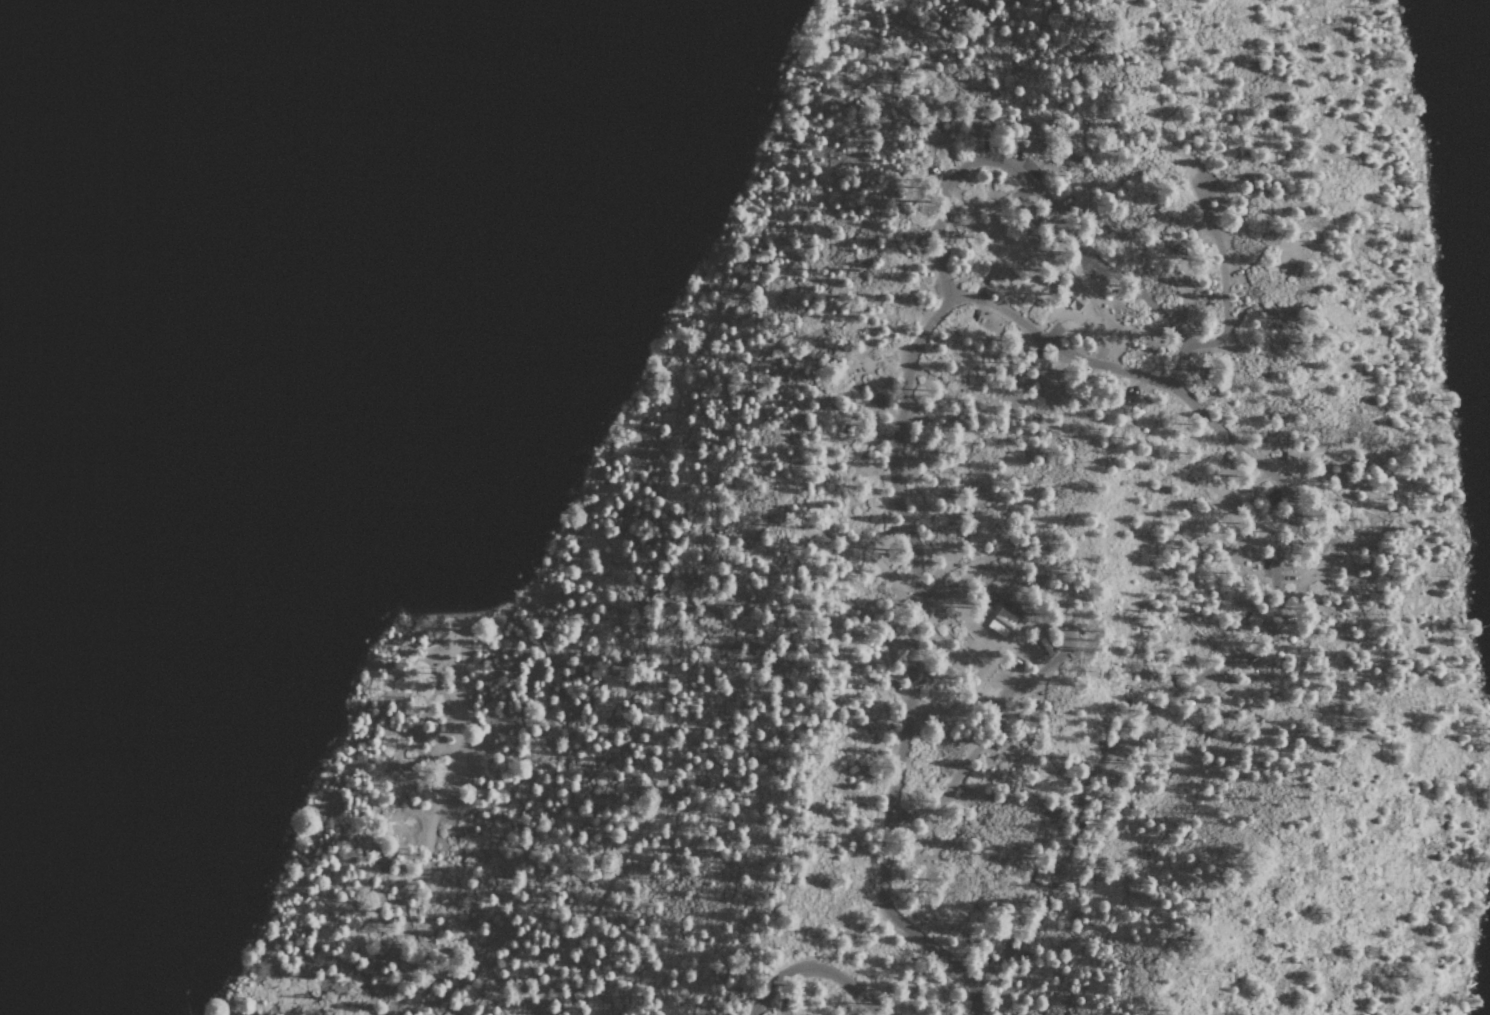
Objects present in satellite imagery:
road: (1155, 90)
road: (952, 182)
parking lot: (1204, 231)
road: (1113, 273)
road: (1223, 279)
building: (1070, 297)
road: (1057, 344)
road: (1206, 664)
road: (913, 665)
road: (1046, 667)
road: (1437, 711)
road: (704, 721)
road: (436, 831)
road: (822, 966)

